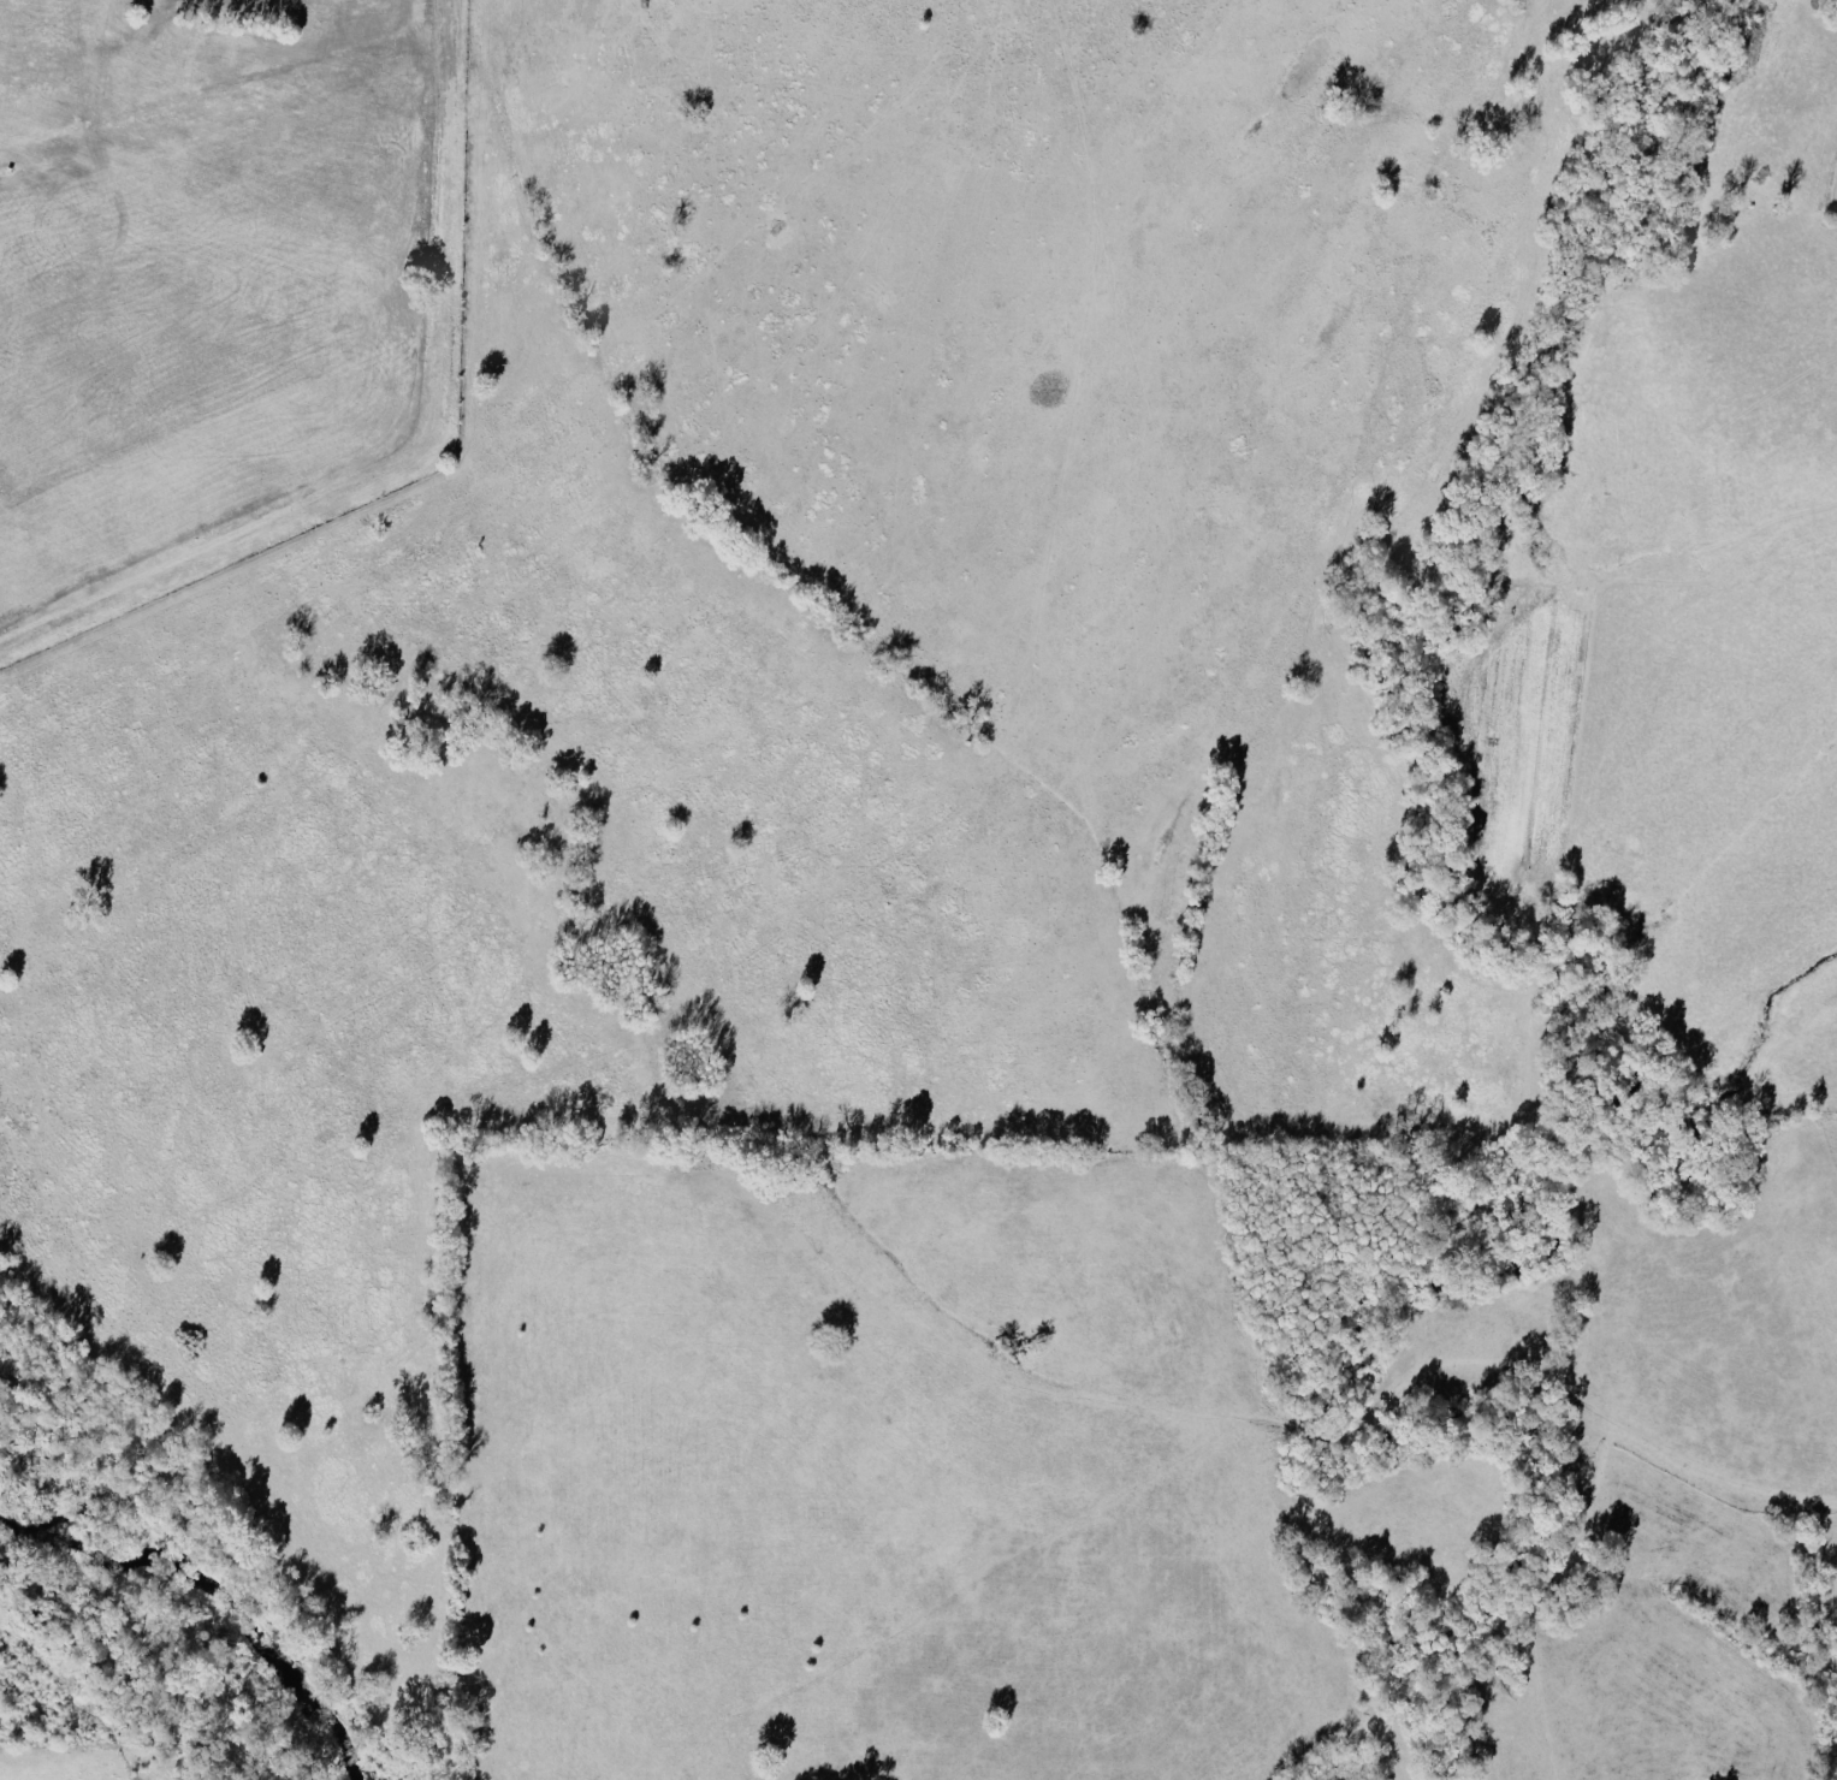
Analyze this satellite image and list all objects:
river: (223, 1580)

